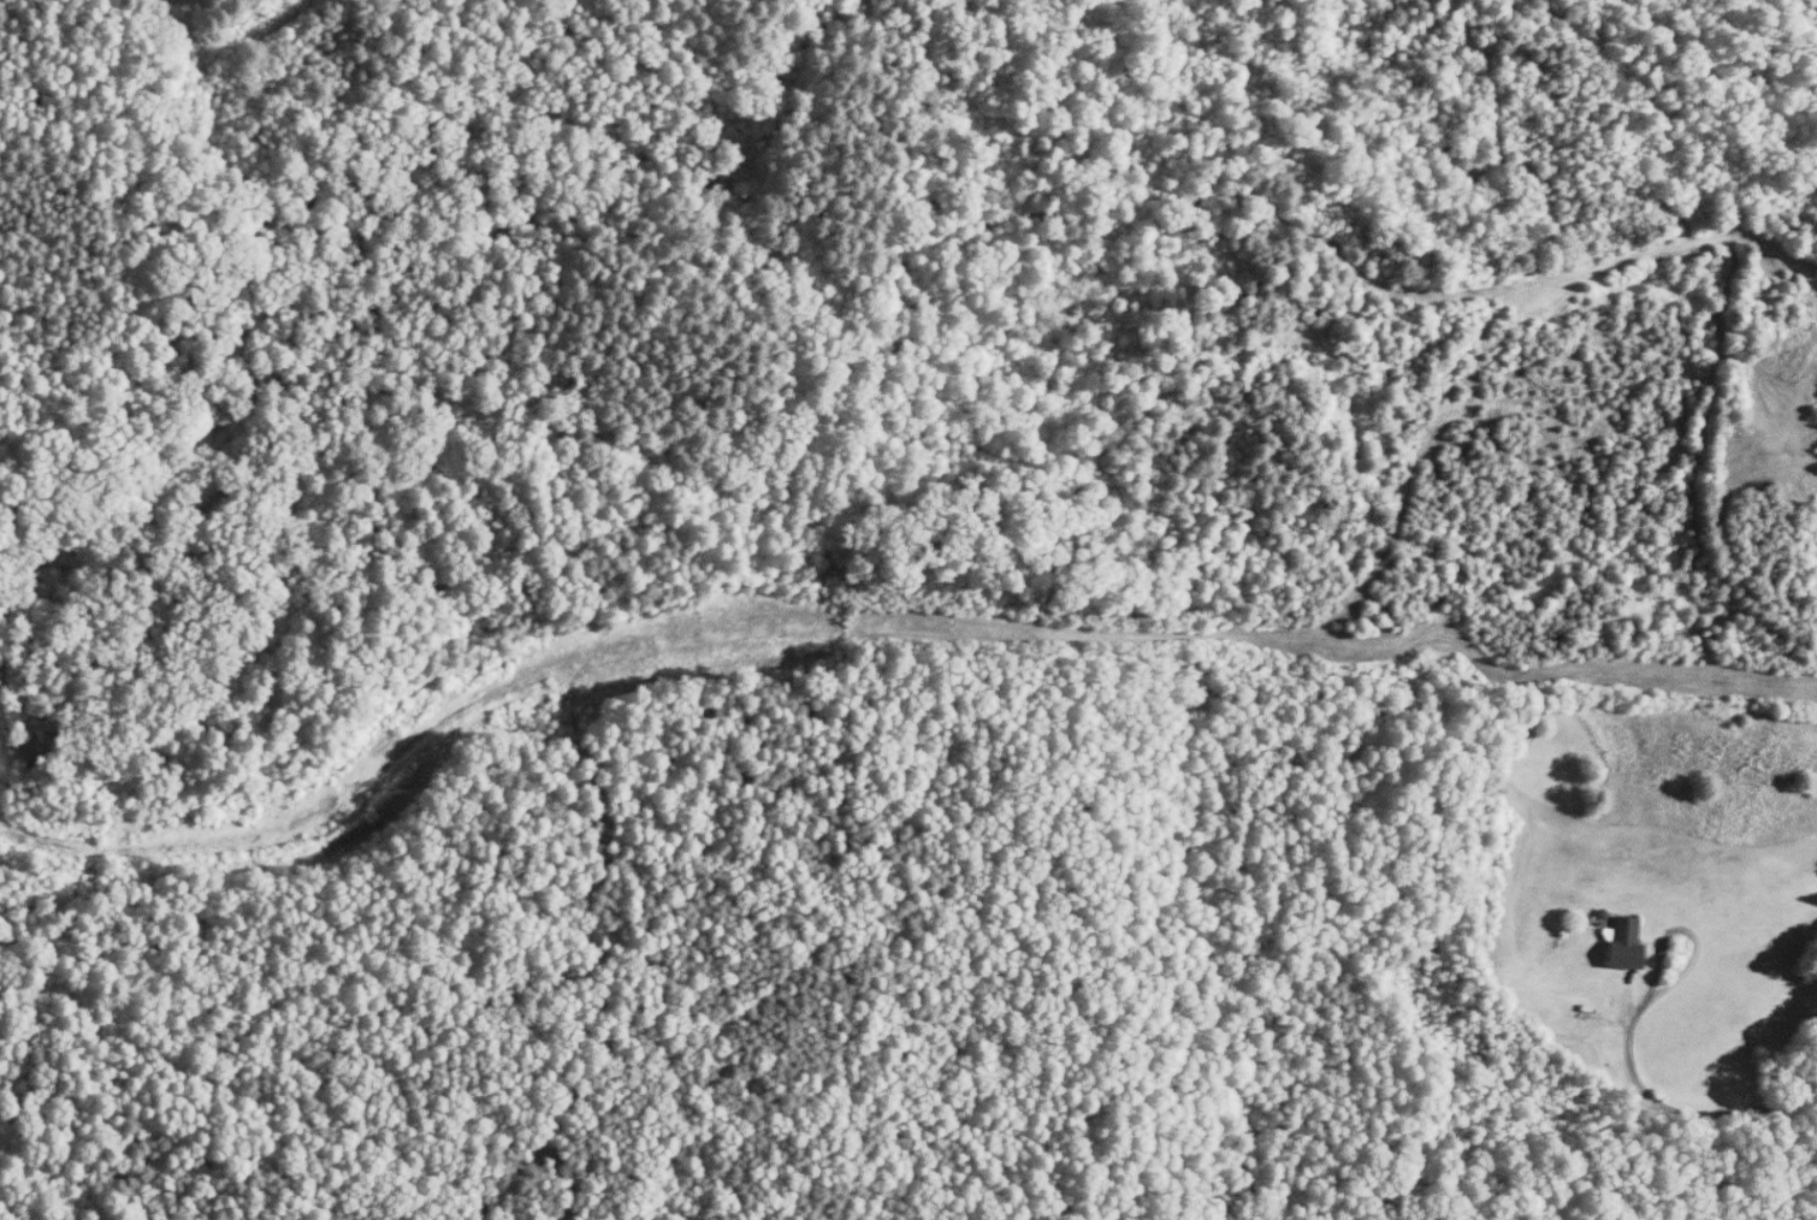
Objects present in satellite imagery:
road: (1687, 929)
building: (1627, 943)
road: (1679, 1107)

